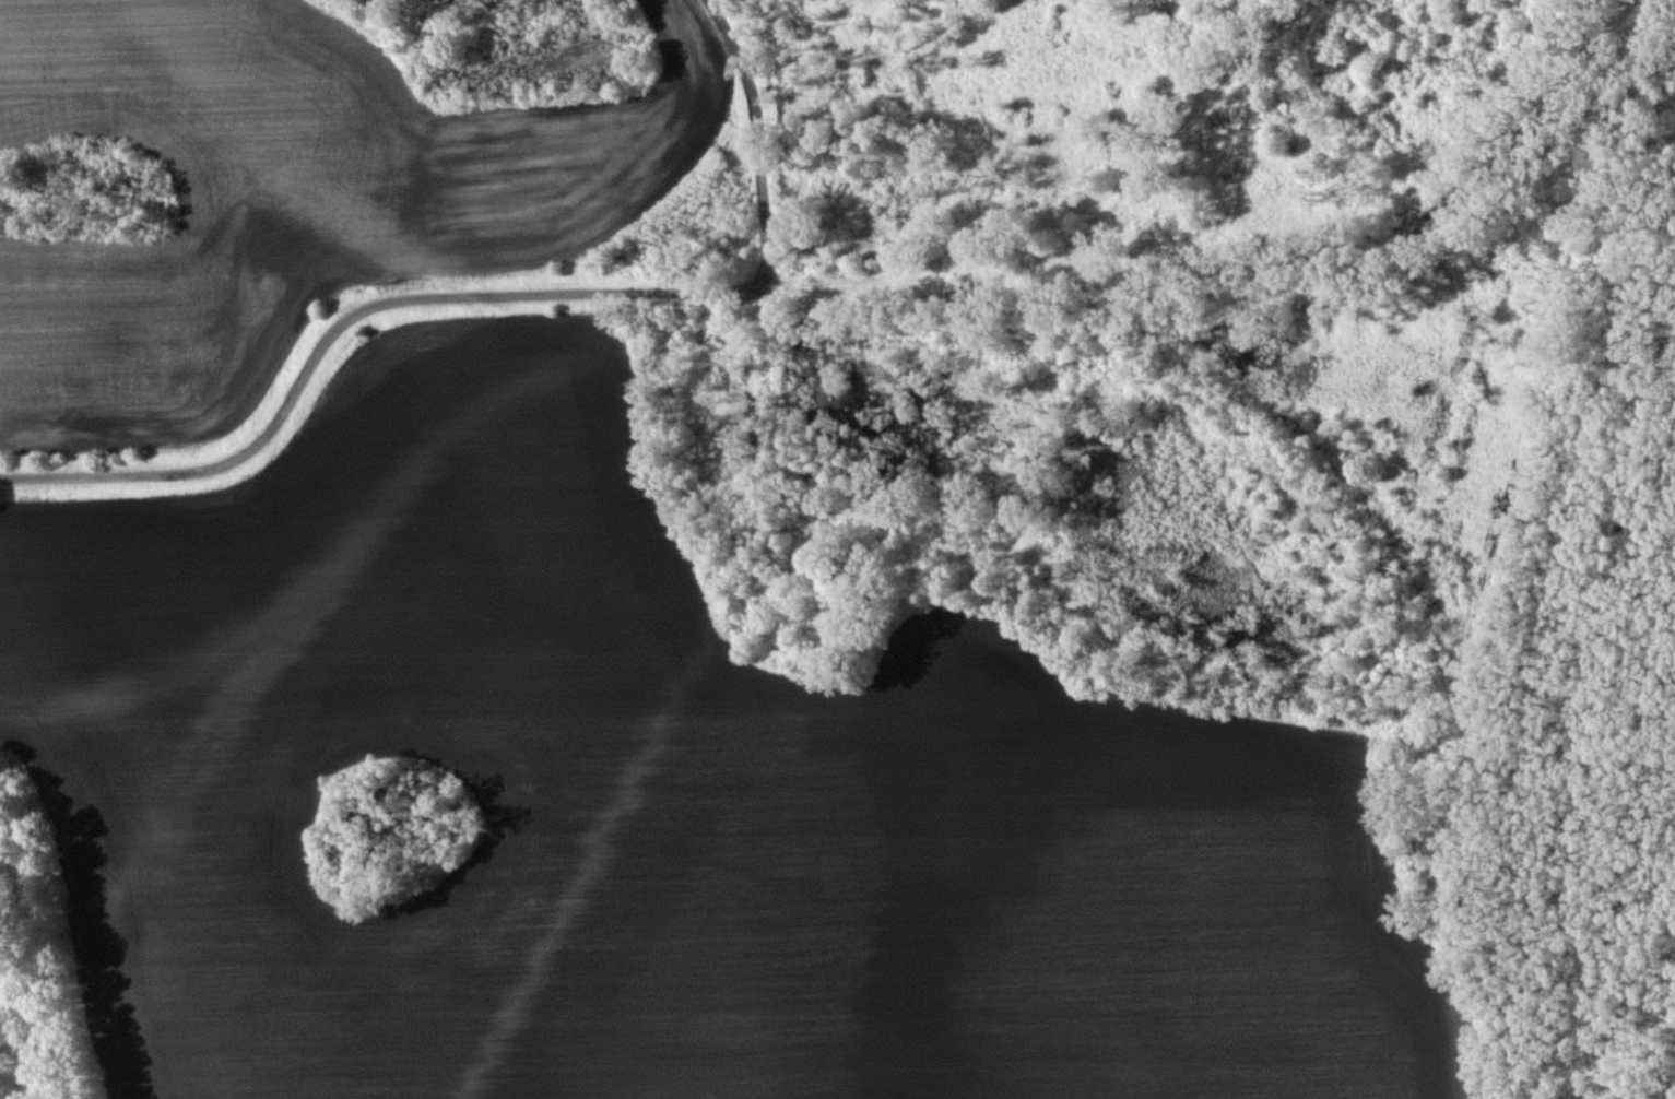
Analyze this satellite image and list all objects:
road: (675, 291)

